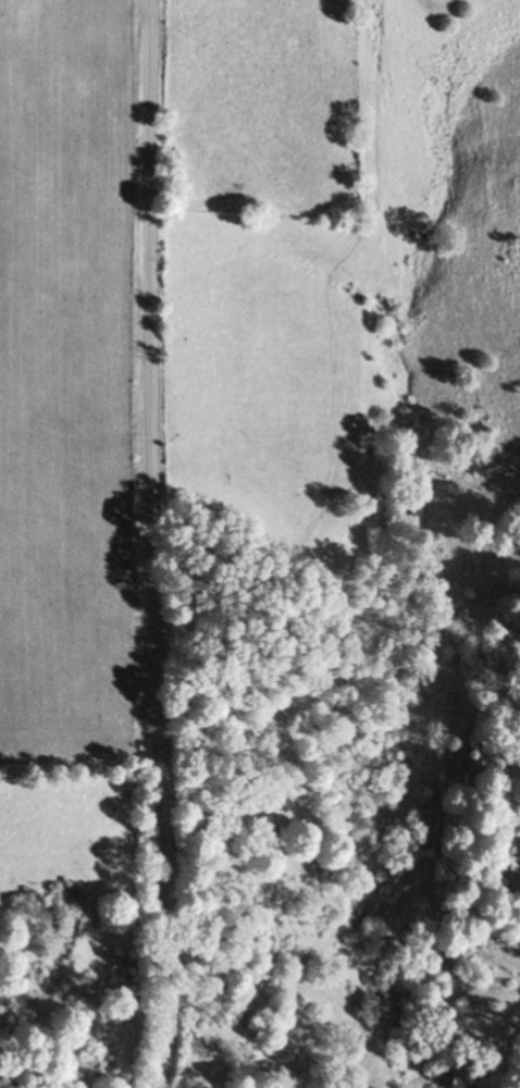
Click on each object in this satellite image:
road: (158, 544)

